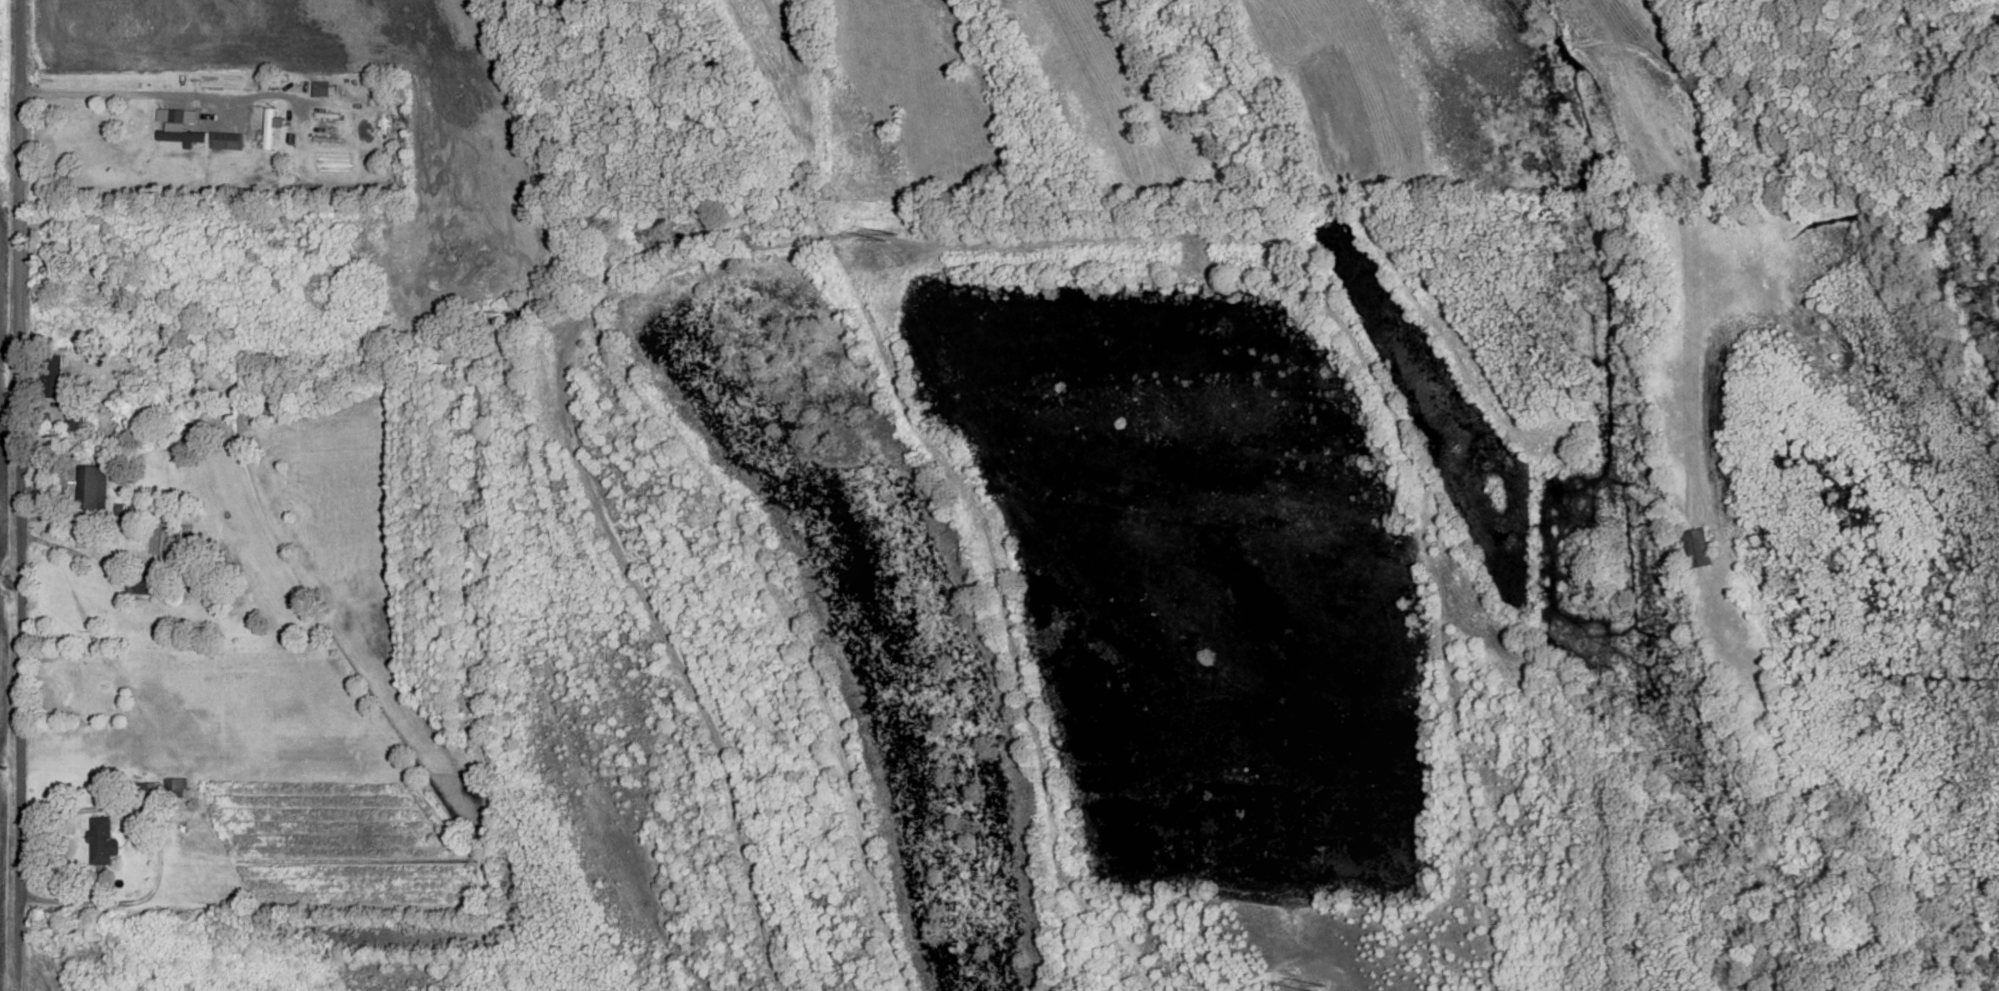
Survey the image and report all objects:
building: (320, 89)
road: (158, 94)
building: (269, 128)
building: (227, 140)
building: (53, 374)
building: (77, 429)
building: (92, 485)
road: (14, 495)
building: (1698, 547)
road: (74, 552)
building: (140, 586)
road: (7, 653)
building: (90, 686)
building: (175, 787)
building: (151, 789)
building: (103, 840)
road: (105, 904)

